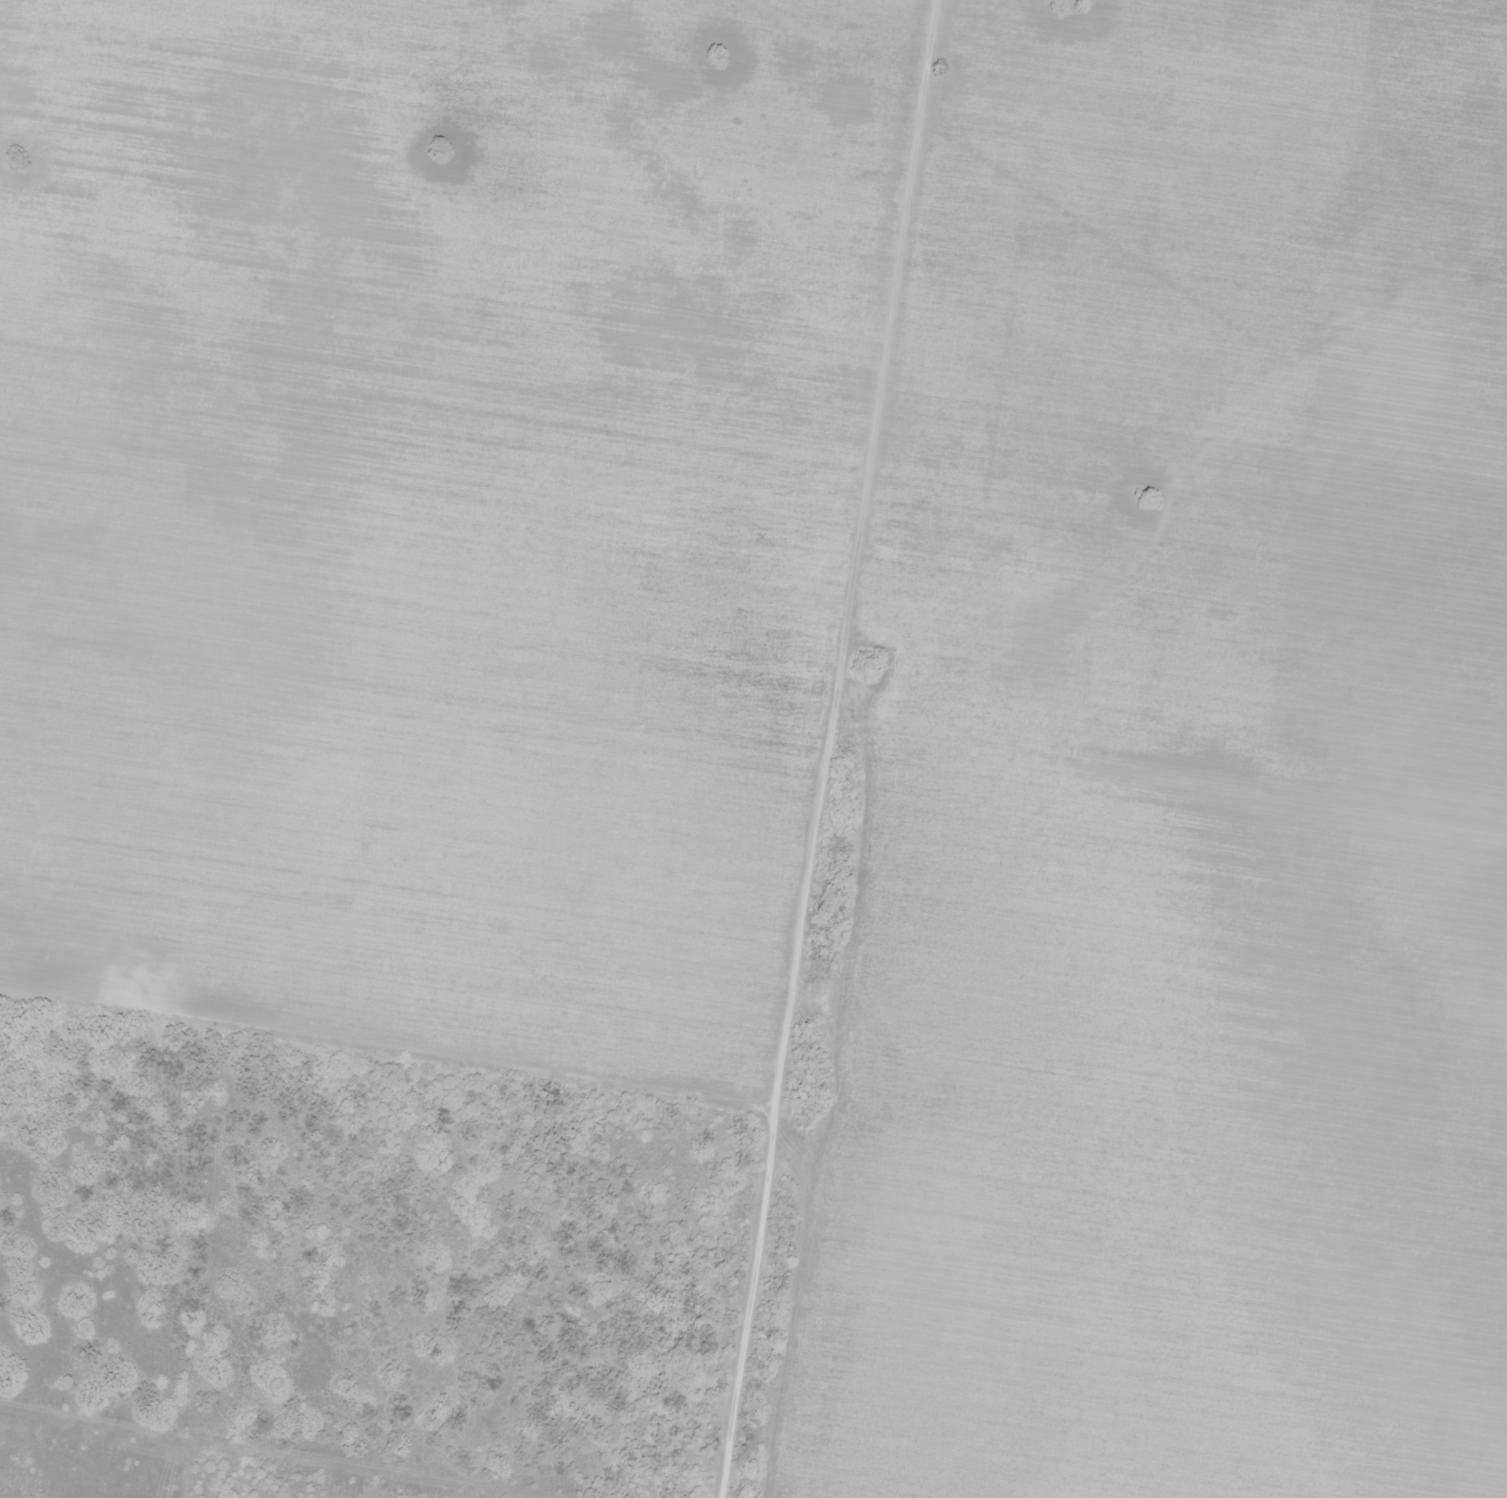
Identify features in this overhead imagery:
road: (1243, 346)
road: (733, 584)
road: (809, 748)
road: (379, 1052)

